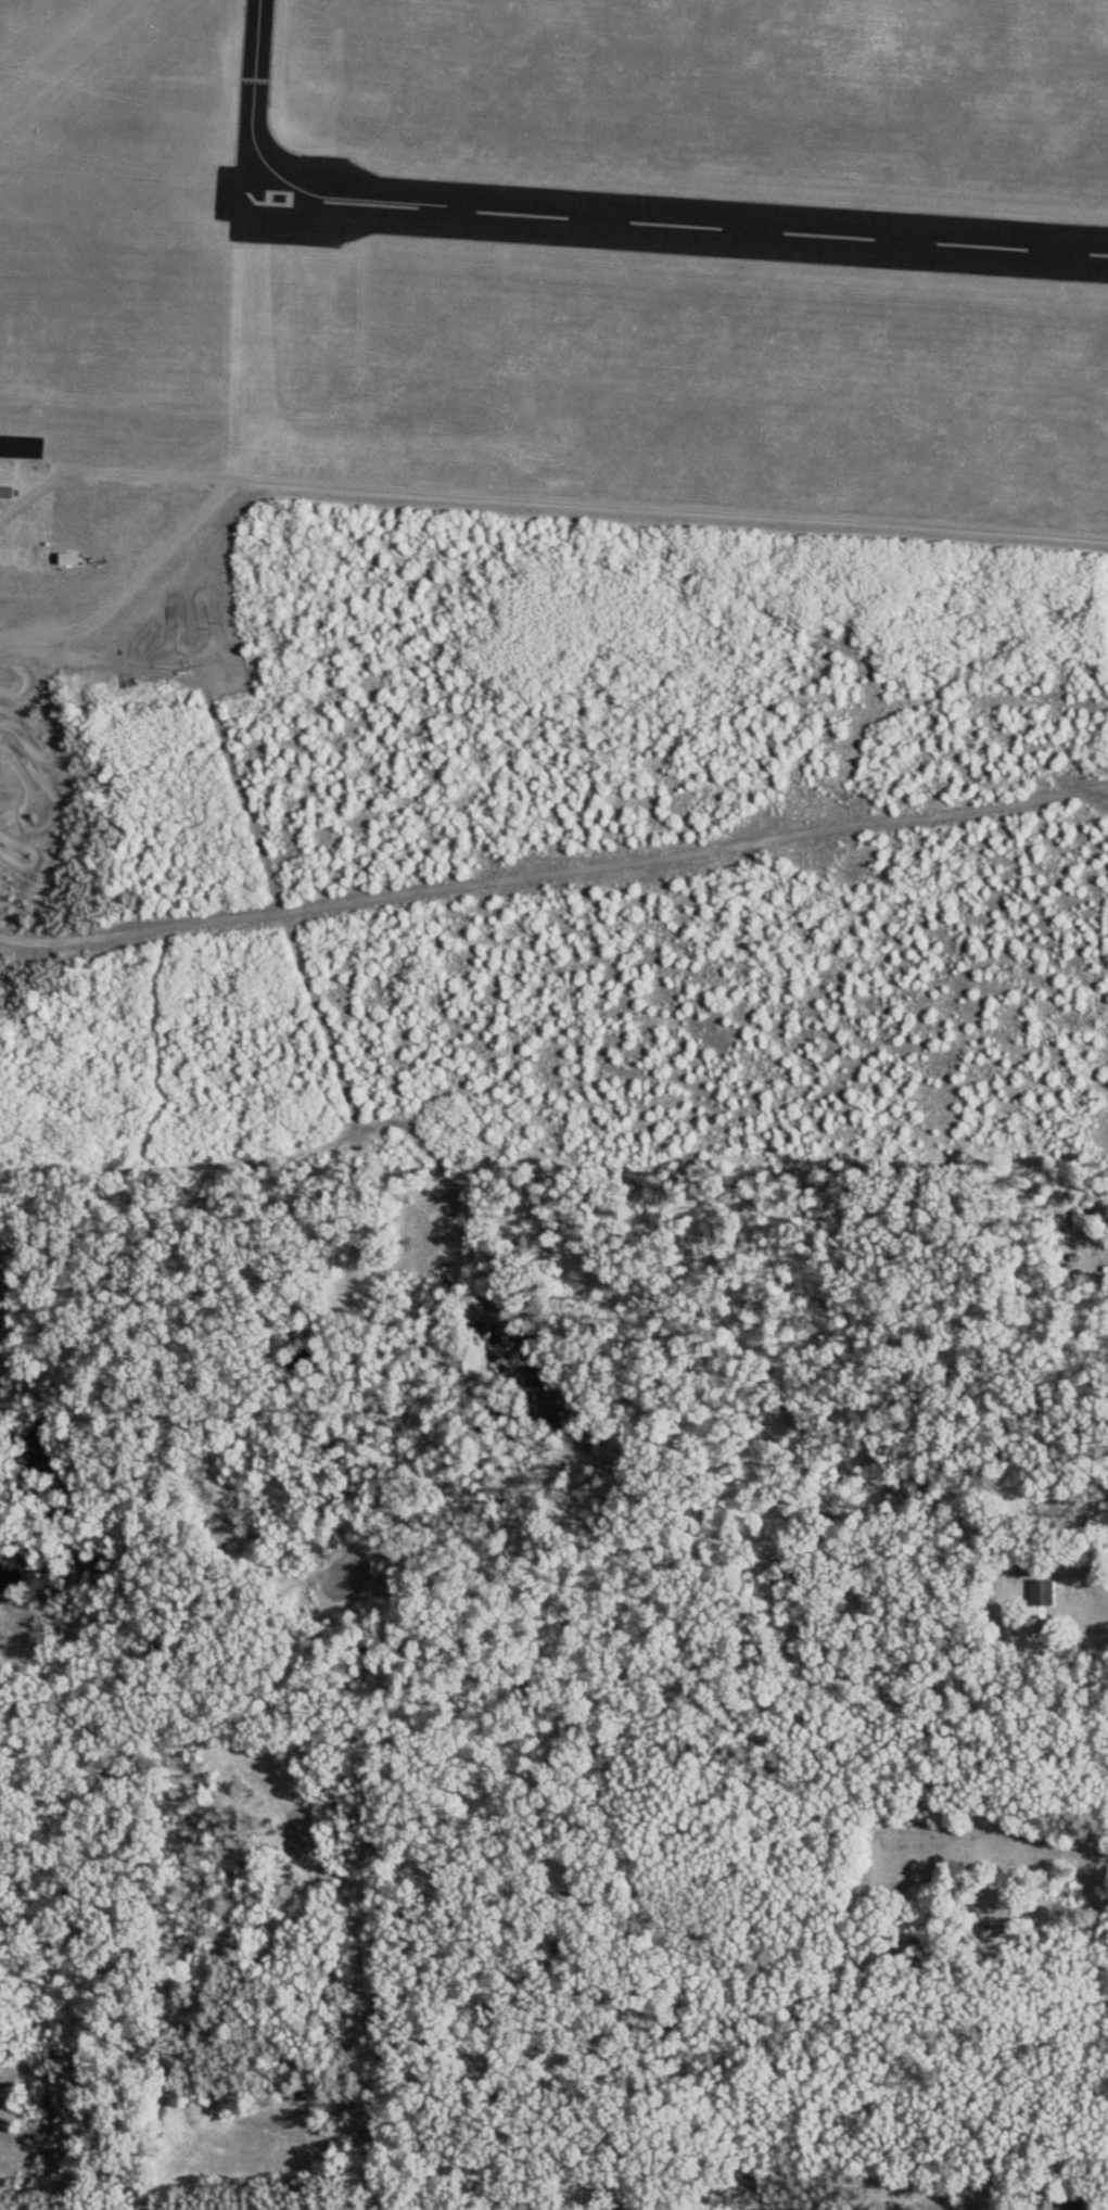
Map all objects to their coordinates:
airport runway: (60, 55)
airport taxiway: (256, 122)
airport runway: (665, 227)
airport: (556, 267)
road: (555, 855)
building: (1042, 1598)

